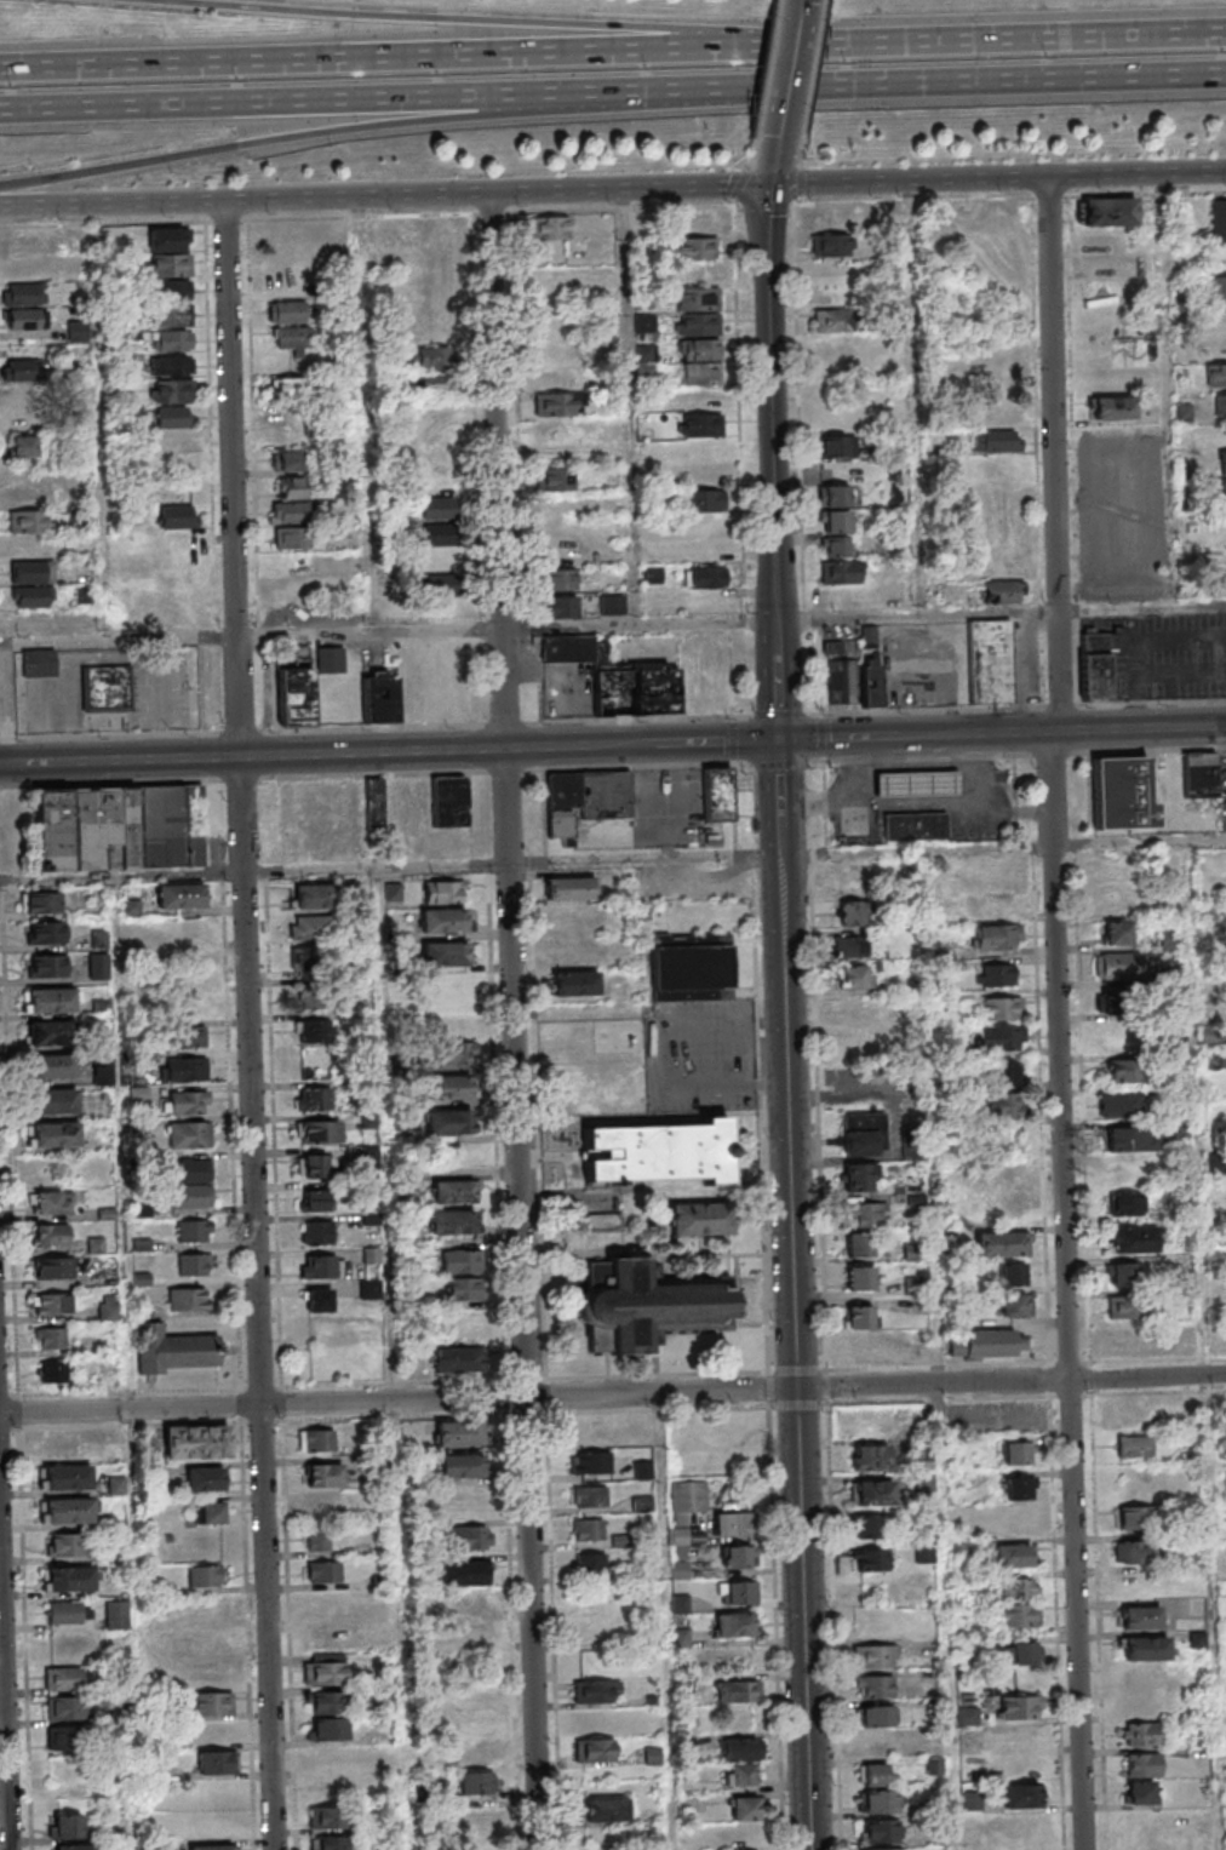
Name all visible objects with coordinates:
road: (517, 21)
road: (1044, 41)
road: (431, 63)
road: (786, 70)
road: (761, 81)
road: (809, 81)
road: (912, 86)
road: (299, 104)
road: (299, 138)
road: (769, 162)
traffic signals: (767, 185)
road: (613, 190)
road: (761, 204)
building: (1106, 211)
building: (833, 218)
building: (1216, 219)
building: (694, 223)
building: (548, 228)
building: (426, 230)
building: (19, 245)
building: (829, 245)
building: (693, 248)
building: (286, 259)
building: (167, 263)
building: (1102, 264)
building: (19, 269)
building: (695, 274)
building: (285, 286)
building: (1216, 287)
building: (21, 293)
building: (285, 311)
building: (697, 311)
building: (168, 315)
building: (23, 319)
building: (643, 322)
building: (434, 332)
building: (832, 333)
building: (292, 339)
building: (172, 340)
building: (430, 357)
building: (171, 365)
building: (16, 370)
building: (1215, 374)
building: (552, 378)
building: (430, 382)
building: (288, 388)
building: (174, 390)
road: (1169, 390)
building: (19, 395)
road: (916, 399)
road: (768, 403)
building: (1220, 405)
road: (630, 407)
building: (1111, 407)
road: (366, 414)
building: (999, 416)
building: (172, 417)
building: (290, 418)
building: (22, 420)
road: (102, 423)
building: (701, 424)
building: (555, 429)
building: (288, 440)
building: (996, 440)
building: (837, 445)
building: (22, 447)
road: (798, 458)
building: (287, 460)
building: (1221, 463)
building: (554, 479)
building: (436, 483)
building: (292, 488)
building: (1222, 492)
building: (28, 496)
building: (833, 496)
building: (703, 500)
building: (437, 508)
building: (288, 511)
building: (181, 516)
building: (28, 521)
building: (833, 521)
building: (440, 537)
building: (560, 537)
building: (291, 538)
building: (33, 546)
building: (833, 546)
building: (33, 572)
building: (840, 572)
building: (704, 575)
building: (561, 578)
building: (1219, 584)
building: (1002, 591)
building: (29, 596)
building: (612, 603)
building: (560, 606)
road: (999, 613)
building: (31, 623)
road: (640, 625)
road: (252, 636)
building: (869, 636)
building: (331, 659)
building: (989, 661)
building: (39, 663)
building: (1096, 663)
building: (619, 678)
building: (842, 681)
road: (777, 682)
building: (871, 682)
building: (104, 688)
building: (296, 697)
building: (379, 698)
road: (1140, 729)
road: (915, 735)
traffic signals: (778, 741)
road: (642, 745)
road: (253, 757)
road: (734, 762)
road: (976, 772)
building: (1201, 775)
building: (919, 783)
building: (718, 794)
building: (1122, 794)
building: (449, 801)
building: (585, 801)
road: (916, 807)
building: (344, 814)
building: (918, 825)
building: (120, 826)
road: (1139, 842)
road: (916, 849)
road: (514, 861)
building: (852, 874)
road: (125, 875)
building: (569, 888)
building: (446, 893)
building: (183, 895)
building: (314, 895)
building: (40, 901)
building: (991, 904)
building: (941, 912)
building: (853, 913)
building: (445, 923)
building: (310, 927)
building: (45, 932)
building: (188, 932)
building: (1118, 932)
building: (996, 937)
building: (850, 946)
building: (445, 955)
building: (308, 958)
building: (1118, 964)
building: (46, 966)
building: (98, 966)
building: (694, 967)
building: (997, 974)
building: (855, 976)
building: (574, 983)
building: (449, 989)
building: (311, 997)
road: (644, 997)
building: (50, 1001)
building: (1116, 1001)
building: (1001, 1008)
building: (852, 1010)
road: (1058, 1012)
road: (516, 1021)
building: (447, 1023)
road: (253, 1025)
building: (313, 1031)
building: (51, 1035)
building: (187, 1037)
building: (1001, 1037)
building: (1112, 1037)
building: (854, 1043)
road: (659, 1049)
building: (454, 1055)
road: (817, 1060)
building: (1214, 1060)
road: (785, 1065)
building: (52, 1067)
building: (185, 1069)
building: (1121, 1070)
building: (103, 1071)
building: (1008, 1073)
building: (448, 1089)
building: (313, 1098)
building: (53, 1101)
building: (187, 1102)
building: (1117, 1105)
building: (1006, 1106)
building: (448, 1123)
building: (317, 1132)
building: (52, 1134)
building: (864, 1134)
building: (189, 1135)
building: (1129, 1139)
building: (661, 1155)
building: (313, 1165)
building: (189, 1170)
building: (1124, 1170)
building: (1006, 1173)
building: (858, 1176)
building: (454, 1192)
building: (190, 1196)
building: (314, 1199)
building: (51, 1202)
building: (1125, 1203)
building: (1004, 1210)
building: (865, 1214)
building: (703, 1220)
building: (453, 1222)
building: (607, 1224)
building: (194, 1230)
building: (319, 1232)
building: (50, 1235)
building: (1134, 1239)
building: (1001, 1244)
building: (860, 1245)
building: (911, 1252)
building: (463, 1261)
building: (194, 1264)
building: (321, 1266)
building: (52, 1267)
building: (1013, 1273)
building: (1123, 1275)
building: (860, 1279)
building: (464, 1289)
building: (188, 1299)
building: (319, 1300)
building: (51, 1304)
building: (1015, 1305)
building: (653, 1306)
building: (105, 1307)
building: (1128, 1307)
building: (861, 1317)
building: (331, 1333)
building: (50, 1338)
building: (1127, 1339)
building: (989, 1344)
road: (1201, 1345)
building: (864, 1347)
road: (940, 1348)
building: (173, 1350)
road: (395, 1357)
building: (456, 1358)
road: (132, 1362)
building: (52, 1371)
road: (773, 1371)
road: (613, 1394)
building: (1128, 1417)
building: (458, 1432)
building: (316, 1439)
building: (196, 1442)
building: (62, 1445)
building: (1135, 1445)
building: (1018, 1453)
building: (923, 1455)
building: (872, 1456)
building: (591, 1462)
building: (460, 1465)
building: (323, 1474)
building: (65, 1477)
building: (205, 1478)
building: (924, 1482)
building: (1018, 1487)
building: (873, 1491)
building: (590, 1496)
building: (464, 1500)
building: (326, 1505)
building: (686, 1507)
building: (65, 1510)
building: (210, 1512)
building: (1134, 1517)
building: (1013, 1519)
building: (733, 1525)
building: (866, 1528)
building: (588, 1529)
building: (471, 1536)
building: (317, 1539)
building: (57, 1543)
building: (1133, 1551)
building: (923, 1553)
building: (1014, 1556)
building: (737, 1558)
building: (871, 1560)
building: (591, 1562)
building: (323, 1571)
building: (463, 1573)
building: (205, 1575)
building: (71, 1577)
building: (1018, 1588)
building: (737, 1593)
building: (469, 1603)
building: (682, 1604)
building: (68, 1611)
building: (1018, 1615)
building: (1140, 1617)
road: (803, 1619)
road: (669, 1621)
building: (734, 1625)
road: (833, 1626)
building: (70, 1645)
building: (1144, 1648)
building: (1021, 1653)
building: (876, 1656)
building: (325, 1668)
building: (63, 1679)
building: (873, 1685)
building: (596, 1690)
building: (739, 1691)
building: (472, 1696)
building: (326, 1702)
building: (212, 1703)
building: (1020, 1706)
building: (64, 1707)
road: (4, 1709)
building: (877, 1714)
building: (968, 1714)
building: (328, 1729)
building: (1141, 1734)
building: (62, 1737)
building: (877, 1745)
building: (740, 1749)
building: (595, 1751)
building: (472, 1754)
building: (331, 1758)
building: (217, 1762)
building: (1142, 1764)
building: (872, 1774)
building: (740, 1775)
building: (1140, 1792)
building: (471, 1795)
building: (1022, 1795)
building: (878, 1800)
building: (745, 1809)
building: (605, 1812)
building: (328, 1817)
building: (64, 1825)
building: (122, 1825)
building: (882, 1831)
building: (330, 1843)
building: (211, 1846)
building: (883, 1849)

